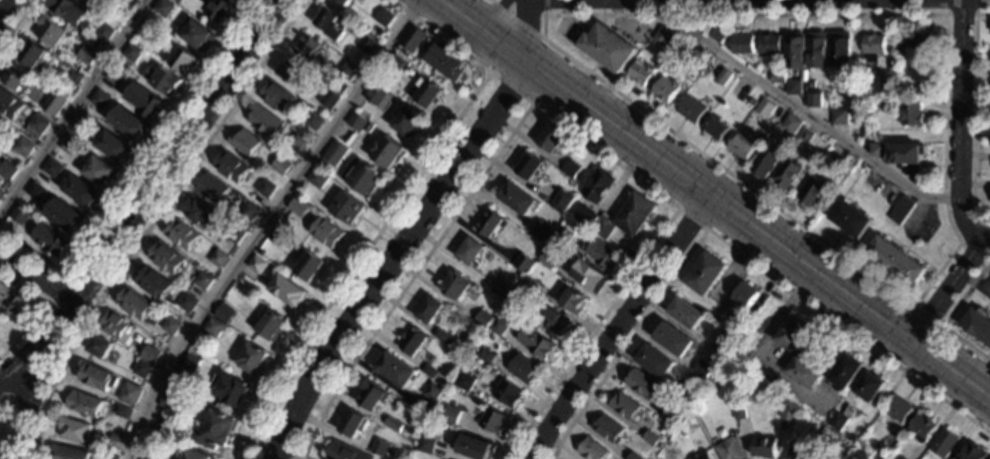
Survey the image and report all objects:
building: (82, 0)
building: (84, 0)
building: (179, 0)
road: (490, 1)
building: (345, 2)
road: (3, 5)
road: (544, 7)
building: (163, 8)
road: (512, 8)
building: (218, 10)
building: (67, 11)
road: (469, 11)
road: (496, 11)
road: (960, 14)
road: (660, 15)
building: (384, 18)
road: (517, 20)
road: (15, 22)
building: (331, 24)
road: (530, 27)
building: (148, 28)
building: (702, 28)
building: (49, 31)
building: (102, 32)
building: (663, 33)
building: (198, 35)
building: (717, 36)
road: (507, 38)
building: (413, 39)
building: (924, 41)
building: (367, 44)
building: (742, 44)
building: (769, 45)
building: (899, 46)
building: (307, 47)
building: (873, 47)
building: (608, 48)
building: (817, 50)
building: (796, 51)
building: (840, 51)
building: (131, 52)
building: (31, 54)
building: (688, 54)
building: (87, 55)
building: (183, 60)
building: (445, 62)
building: (924, 63)
building: (396, 64)
road: (524, 65)
building: (783, 68)
building: (347, 71)
building: (641, 73)
building: (294, 74)
building: (73, 76)
building: (15, 77)
building: (115, 77)
building: (723, 77)
building: (778, 78)
building: (161, 79)
building: (885, 80)
building: (811, 84)
road: (513, 88)
building: (794, 88)
building: (666, 90)
building: (426, 93)
building: (858, 96)
building: (278, 97)
building: (379, 97)
building: (99, 99)
building: (329, 99)
building: (814, 99)
building: (144, 100)
building: (53, 102)
building: (754, 102)
road: (73, 103)
building: (9, 104)
building: (765, 108)
building: (692, 110)
road: (801, 111)
building: (911, 114)
road: (973, 115)
building: (840, 117)
road: (554, 118)
building: (264, 120)
building: (314, 121)
building: (408, 121)
building: (82, 122)
building: (128, 123)
building: (359, 123)
building: (790, 125)
building: (1, 126)
building: (35, 126)
road: (956, 127)
building: (717, 129)
building: (867, 130)
building: (804, 138)
building: (552, 140)
building: (299, 141)
building: (244, 143)
building: (68, 146)
building: (112, 146)
building: (22, 147)
building: (742, 147)
building: (876, 150)
building: (387, 152)
building: (335, 153)
building: (906, 158)
building: (765, 163)
building: (280, 165)
building: (230, 166)
building: (530, 167)
building: (51, 168)
building: (572, 169)
building: (6, 171)
building: (98, 171)
road: (140, 173)
building: (787, 173)
building: (362, 177)
building: (318, 179)
building: (599, 186)
building: (212, 189)
building: (266, 189)
building: (34, 191)
building: (79, 191)
building: (812, 191)
building: (1, 193)
building: (520, 200)
building: (562, 201)
building: (298, 207)
building: (346, 208)
road: (393, 209)
building: (901, 210)
building: (250, 211)
building: (198, 212)
building: (18, 214)
building: (636, 214)
building: (63, 215)
building: (585, 216)
road: (691, 217)
road: (126, 219)
building: (851, 219)
road: (150, 221)
road: (262, 223)
road: (761, 223)
building: (491, 224)
building: (604, 227)
building: (541, 231)
building: (327, 233)
building: (180, 234)
building: (234, 234)
building: (276, 235)
road: (964, 235)
building: (562, 236)
building: (50, 240)
road: (988, 242)
road: (735, 249)
building: (471, 252)
building: (604, 254)
building: (165, 257)
building: (218, 258)
building: (548, 258)
building: (896, 260)
road: (388, 263)
building: (523, 263)
building: (256, 265)
building: (310, 267)
building: (706, 274)
road: (34, 277)
building: (589, 277)
building: (202, 280)
building: (151, 281)
road: (976, 282)
building: (529, 283)
building: (454, 284)
building: (288, 291)
road: (950, 291)
road: (56, 293)
building: (501, 294)
building: (746, 295)
building: (6, 297)
building: (573, 301)
building: (133, 303)
building: (187, 303)
building: (513, 306)
road: (43, 309)
building: (430, 310)
building: (685, 313)
building: (224, 314)
road: (926, 314)
road: (947, 319)
building: (483, 320)
road: (621, 321)
building: (555, 322)
building: (741, 322)
building: (268, 324)
building: (977, 325)
building: (170, 326)
building: (113, 327)
building: (213, 327)
building: (499, 327)
building: (792, 333)
building: (442, 337)
building: (751, 337)
building: (674, 340)
building: (412, 341)
building: (536, 343)
building: (720, 343)
building: (99, 347)
building: (150, 355)
building: (485, 356)
building: (252, 359)
building: (655, 361)
building: (190, 362)
building: (704, 365)
road: (22, 366)
building: (142, 369)
building: (523, 369)
building: (395, 370)
building: (429, 371)
building: (805, 372)
building: (845, 372)
building: (95, 376)
building: (464, 382)
building: (642, 383)
building: (868, 386)
building: (688, 388)
building: (229, 389)
building: (432, 391)
building: (507, 393)
building: (129, 394)
building: (372, 395)
building: (169, 399)
road: (19, 401)
building: (84, 404)
building: (625, 406)
building: (898, 409)
building: (738, 411)
road: (5, 413)
building: (123, 413)
building: (789, 413)
building: (669, 416)
building: (453, 419)
building: (493, 421)
building: (837, 421)
building: (352, 423)
building: (393, 424)
building: (922, 427)
building: (608, 428)
building: (74, 430)
building: (214, 430)
building: (116, 436)
building: (650, 438)
building: (827, 438)
building: (943, 443)
building: (425, 445)
building: (764, 447)
building: (381, 448)
building: (476, 448)
building: (729, 449)
building: (591, 450)
building: (882, 451)
building: (345, 452)
building: (798, 452)
building: (972, 452)
building: (69, 453)
building: (149, 455)
building: (192, 455)
building: (633, 456)
building: (701, 456)
building: (109, 457)
building: (901, 457)
building: (142, 458)

